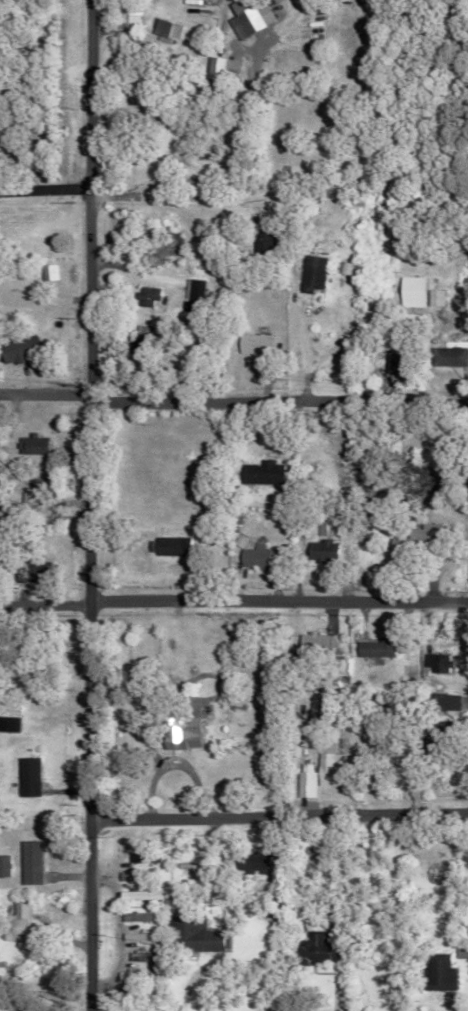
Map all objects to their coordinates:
building: (242, 16)
building: (165, 30)
building: (308, 36)
building: (214, 67)
road: (228, 154)
road: (41, 189)
road: (164, 194)
road: (128, 273)
building: (306, 273)
building: (190, 290)
building: (405, 291)
building: (141, 296)
building: (430, 297)
building: (250, 344)
road: (297, 345)
building: (15, 349)
building: (443, 357)
road: (380, 385)
road: (147, 396)
road: (381, 399)
building: (28, 445)
building: (258, 472)
building: (32, 498)
road: (82, 505)
building: (414, 543)
building: (167, 546)
building: (319, 551)
building: (30, 570)
road: (275, 600)
building: (312, 642)
building: (371, 648)
building: (434, 664)
road: (41, 673)
building: (439, 703)
building: (6, 724)
building: (437, 728)
building: (176, 733)
building: (317, 773)
building: (24, 776)
road: (276, 816)
building: (141, 857)
building: (27, 861)
building: (246, 862)
building: (3, 865)
building: (122, 875)
building: (140, 894)
building: (134, 916)
building: (14, 922)
building: (188, 934)
building: (135, 936)
building: (313, 947)
building: (137, 956)
building: (132, 974)
building: (435, 974)
building: (147, 997)

